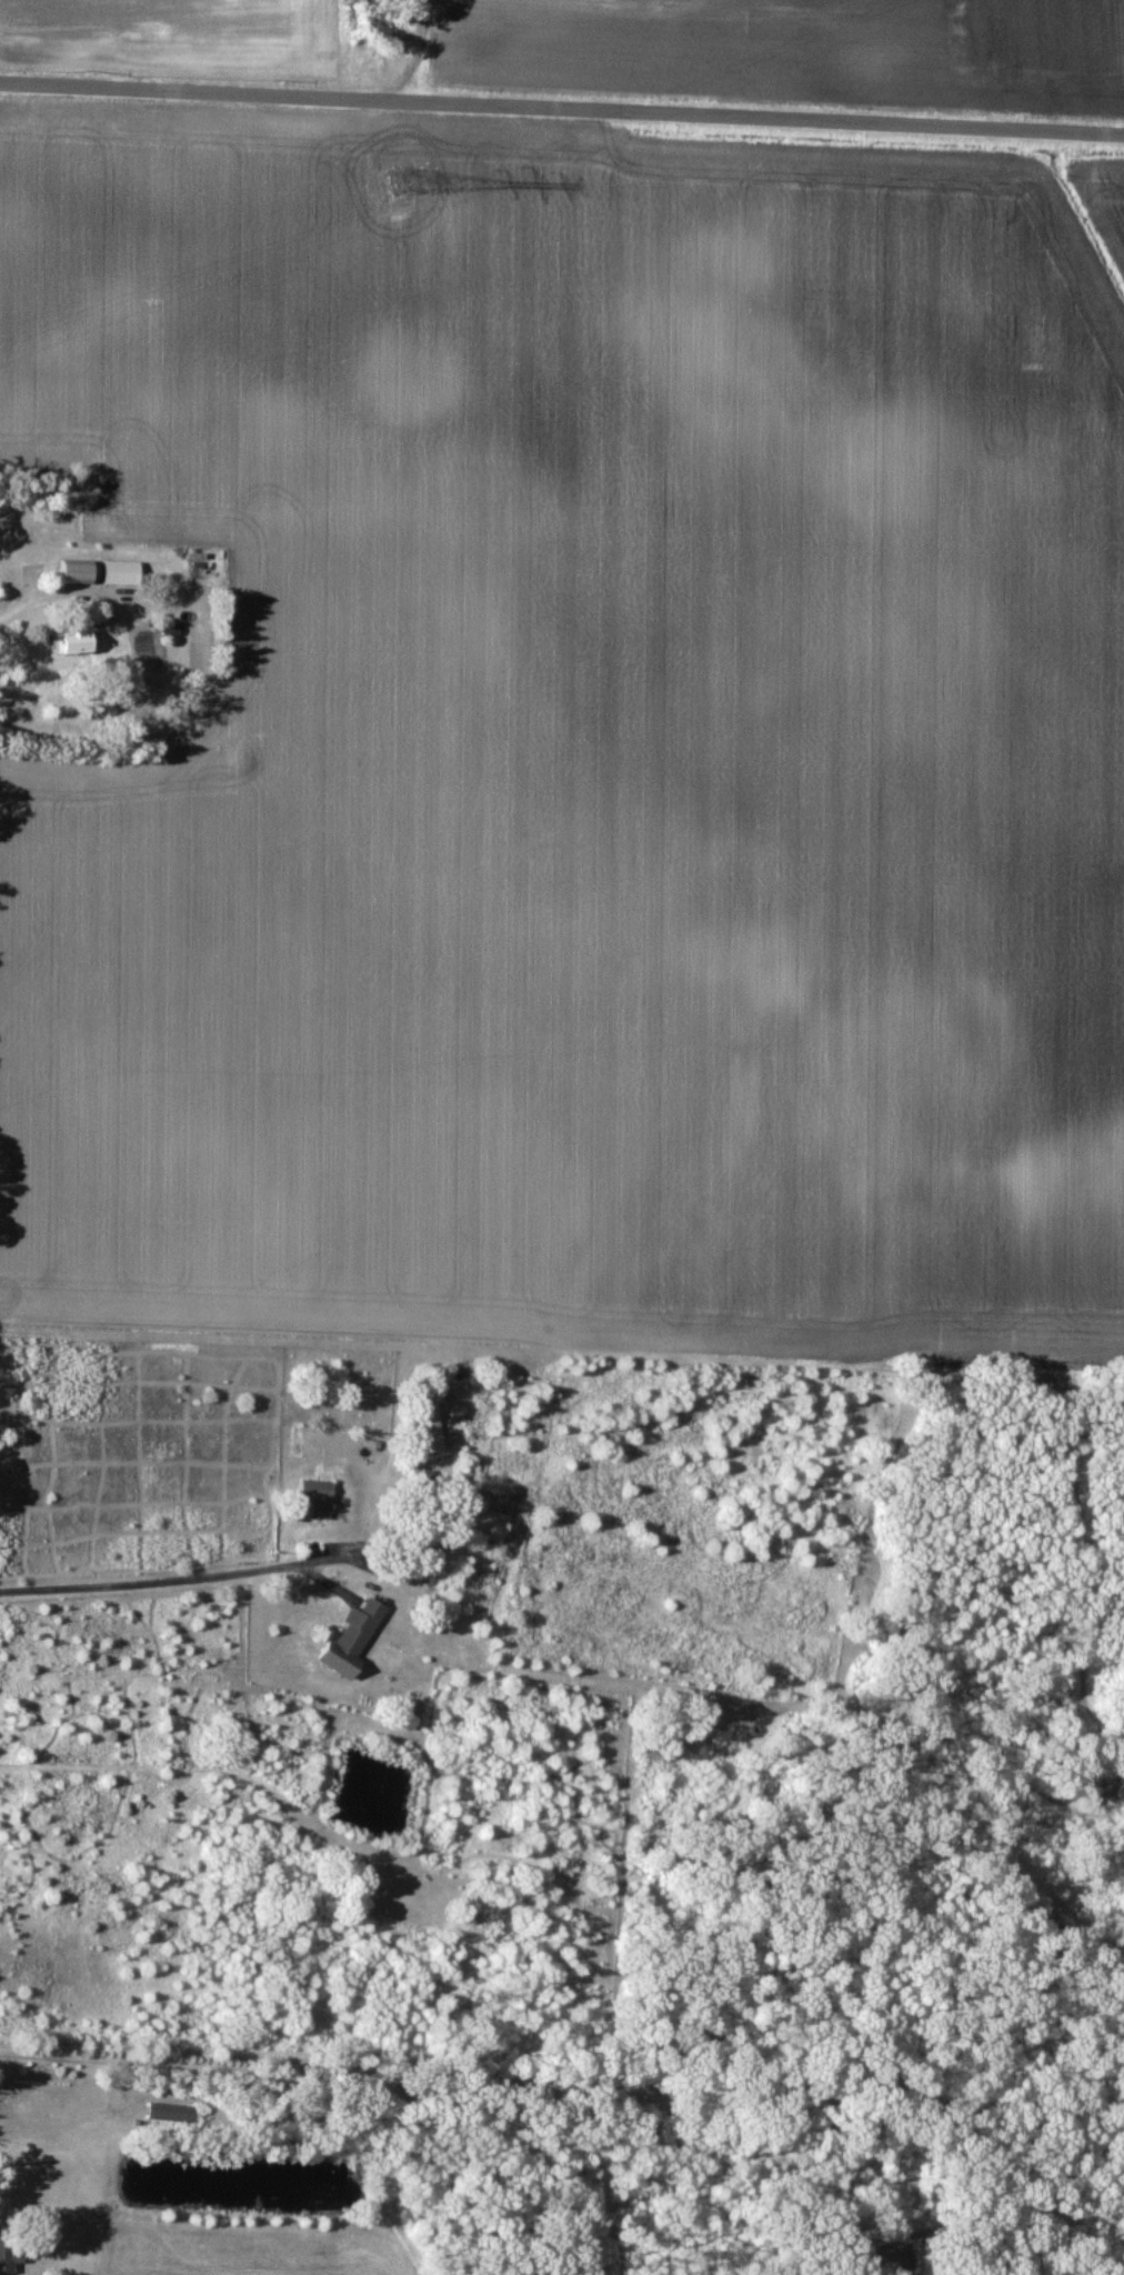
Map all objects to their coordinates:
road: (562, 107)
power tower: (405, 181)
building: (82, 570)
building: (126, 571)
building: (82, 641)
building: (434, 1426)
building: (323, 1496)
building: (490, 1522)
road: (160, 1577)
building: (357, 1638)
building: (11, 2251)

